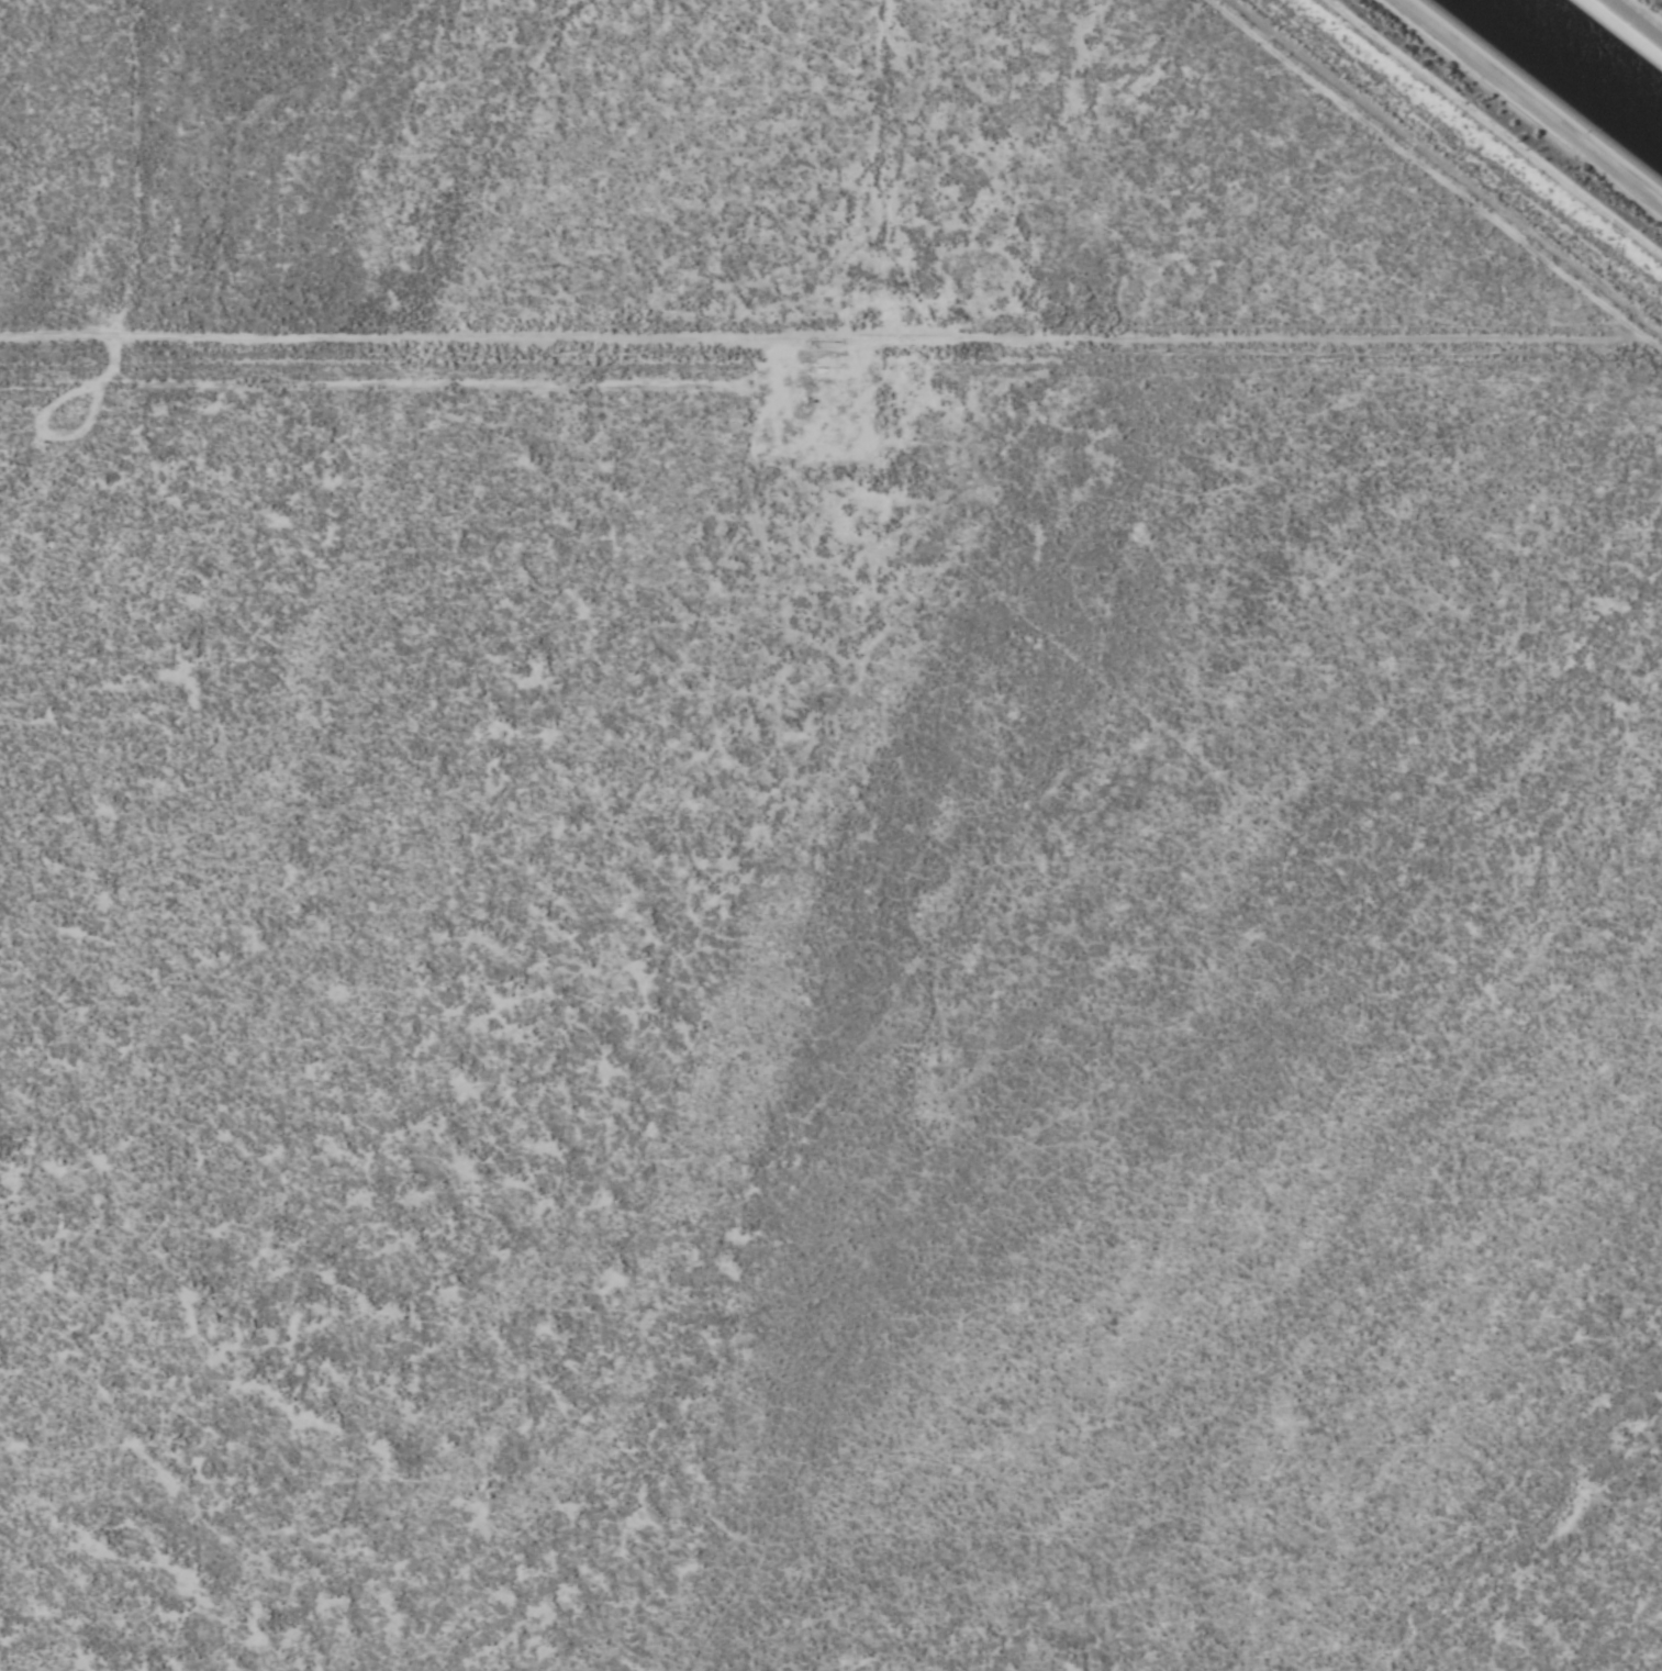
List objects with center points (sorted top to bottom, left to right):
road: (1639, 16)
road: (1465, 149)
road: (904, 194)
road: (830, 390)

